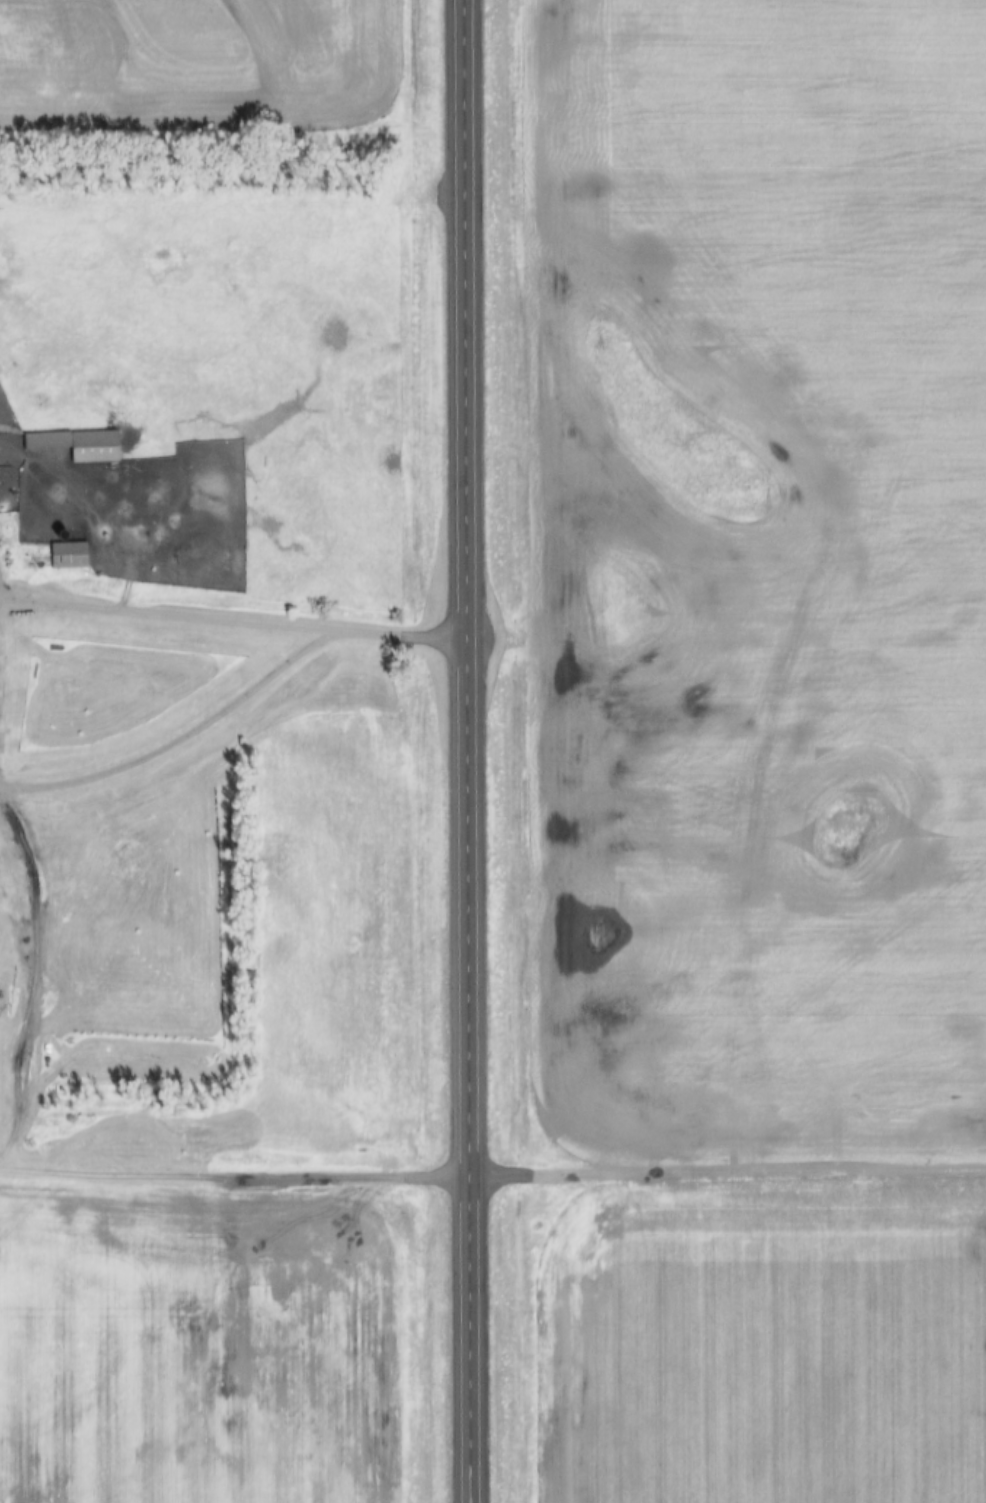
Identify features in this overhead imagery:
building: (84, 445)
building: (73, 556)
road: (167, 612)
road: (410, 633)
road: (180, 736)
road: (483, 751)
road: (36, 969)
building: (468, 1168)
road: (492, 1172)

